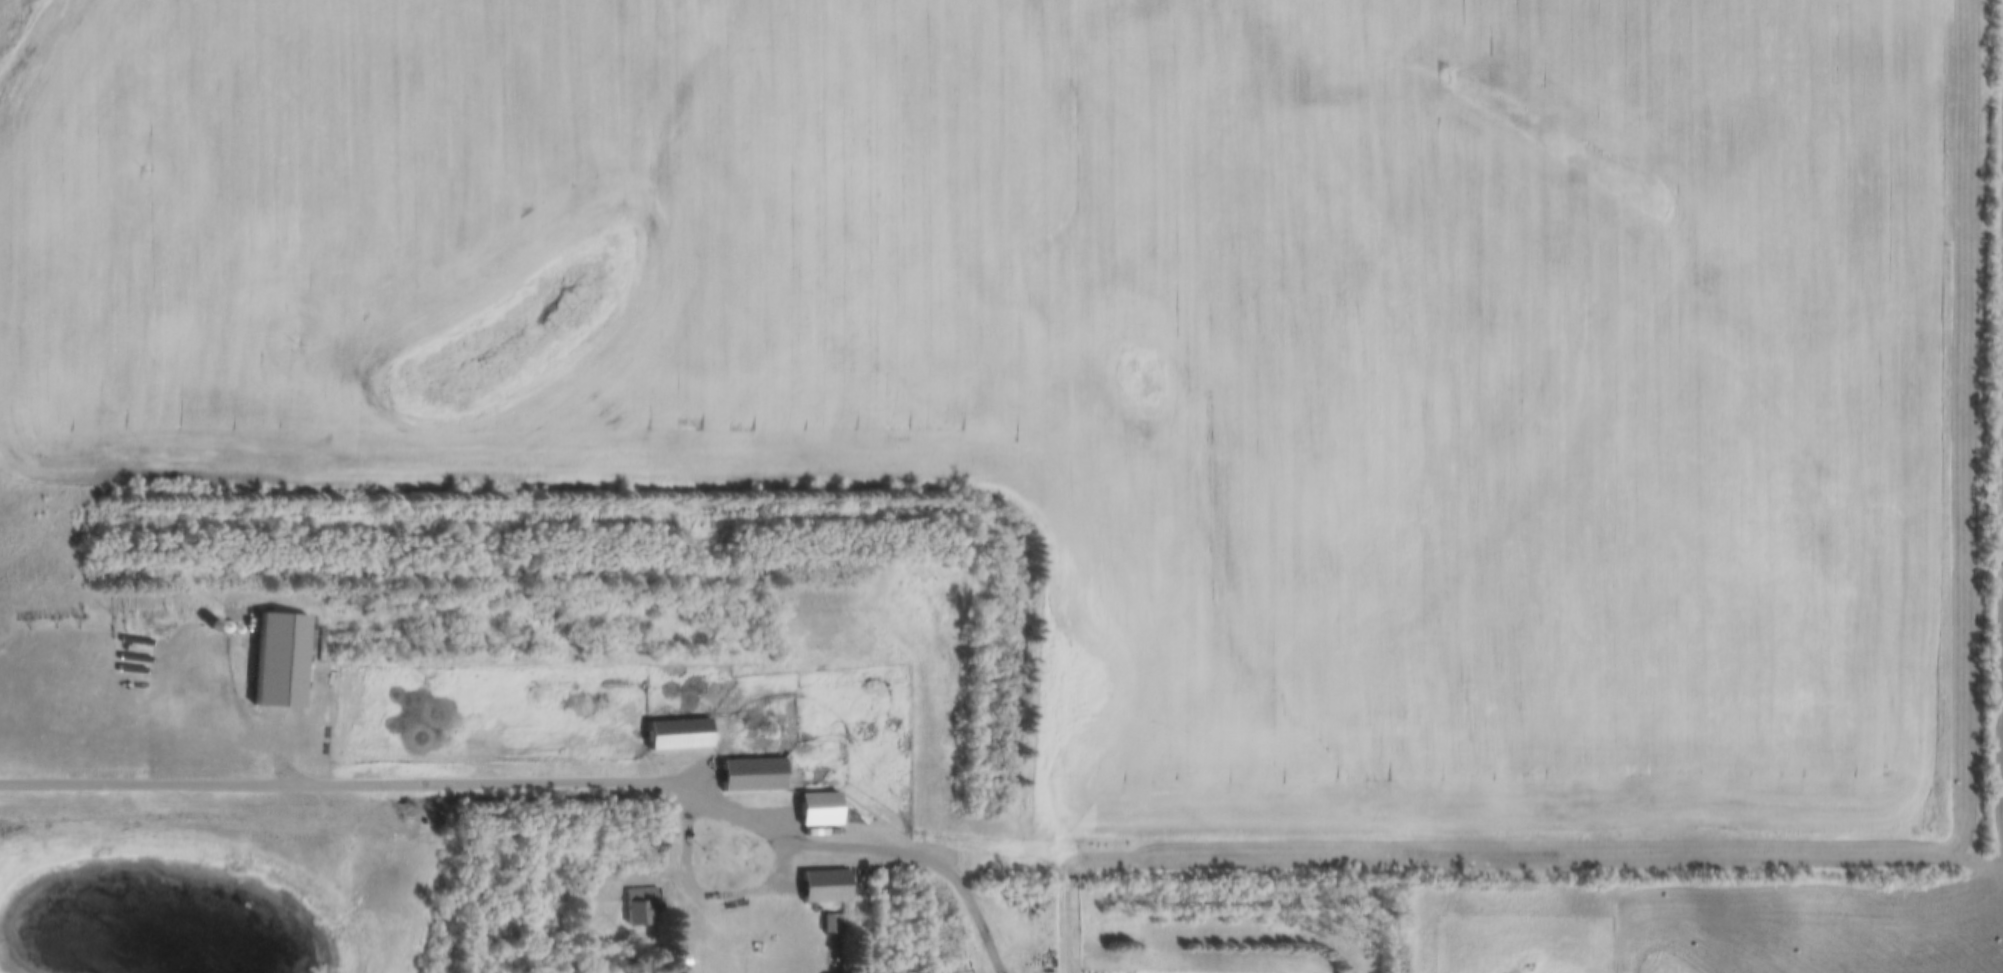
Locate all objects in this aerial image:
building: (678, 735)
building: (751, 775)
road: (340, 780)
building: (818, 809)
road: (928, 861)
road: (764, 886)
building: (826, 887)
building: (639, 908)
road: (1066, 923)

